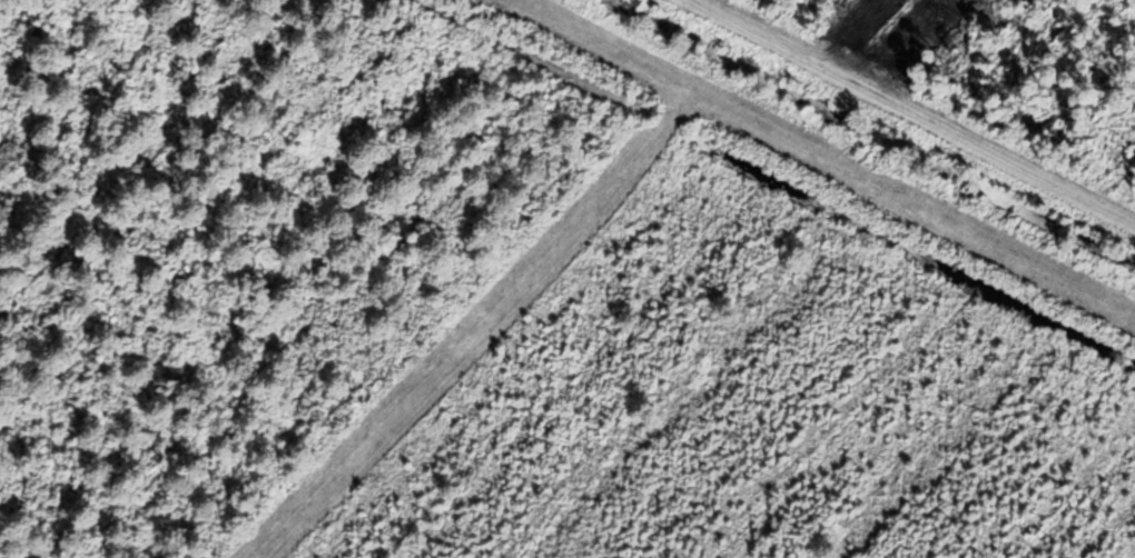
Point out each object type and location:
road: (899, 123)

